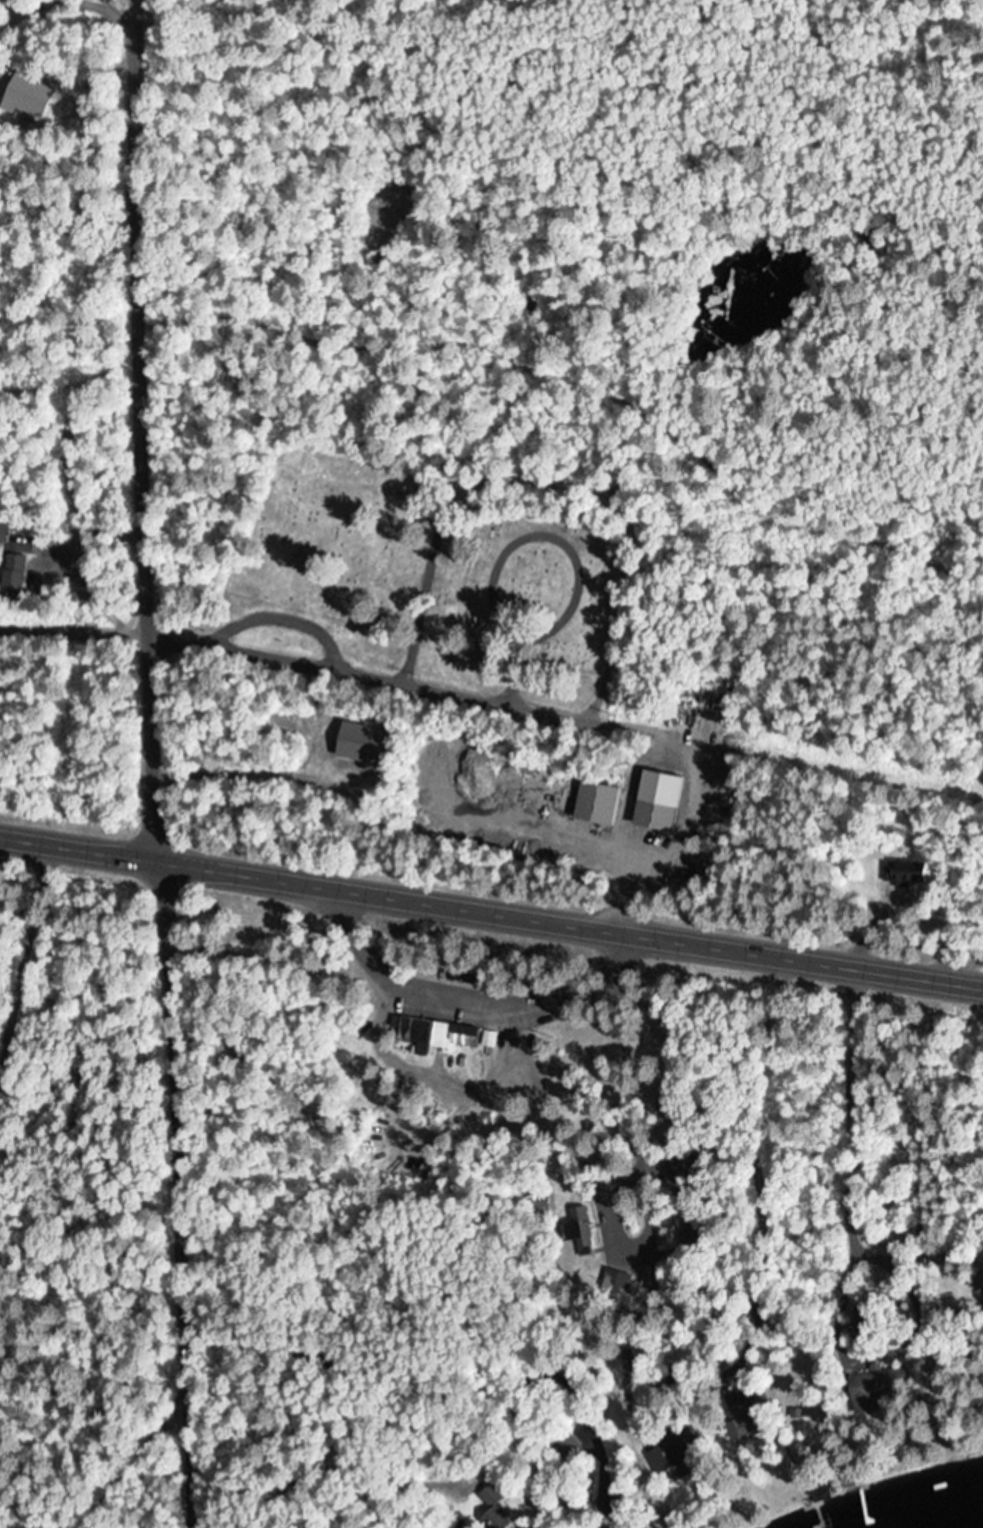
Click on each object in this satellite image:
park: (399, 402)
road: (129, 426)
building: (1, 524)
road: (68, 628)
road: (360, 668)
building: (356, 741)
building: (593, 802)
building: (650, 815)
building: (900, 872)
road: (490, 911)
road: (27, 965)
road: (468, 998)
building: (438, 1035)
road: (164, 1190)
building: (538, 1202)
building: (577, 1229)
building: (617, 1282)
building: (982, 1284)
building: (866, 1390)
building: (670, 1460)
building: (496, 1511)

